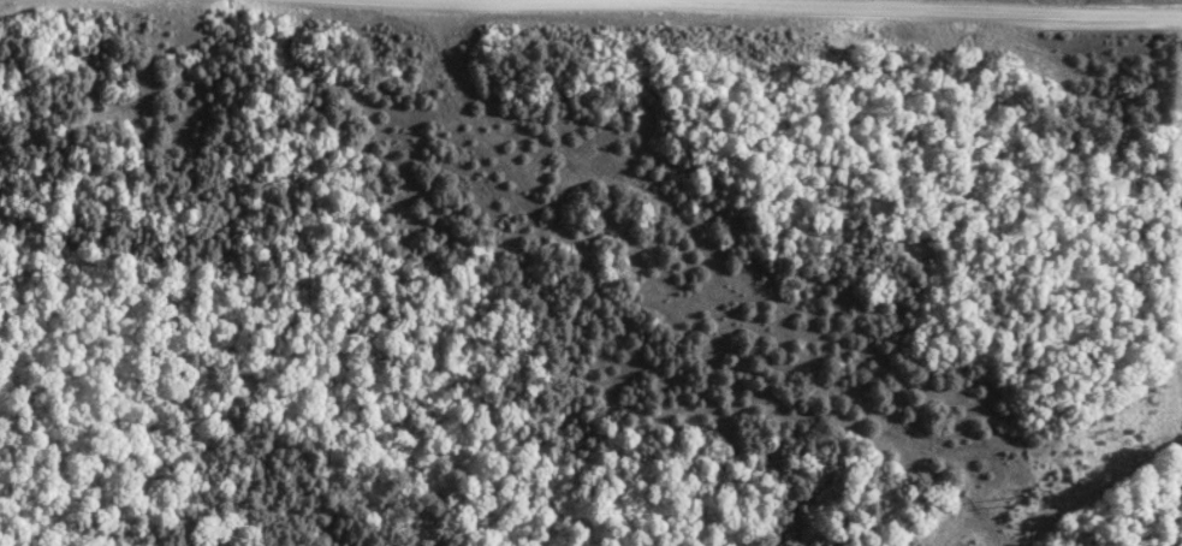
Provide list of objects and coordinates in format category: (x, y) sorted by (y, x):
road: (786, 12)

